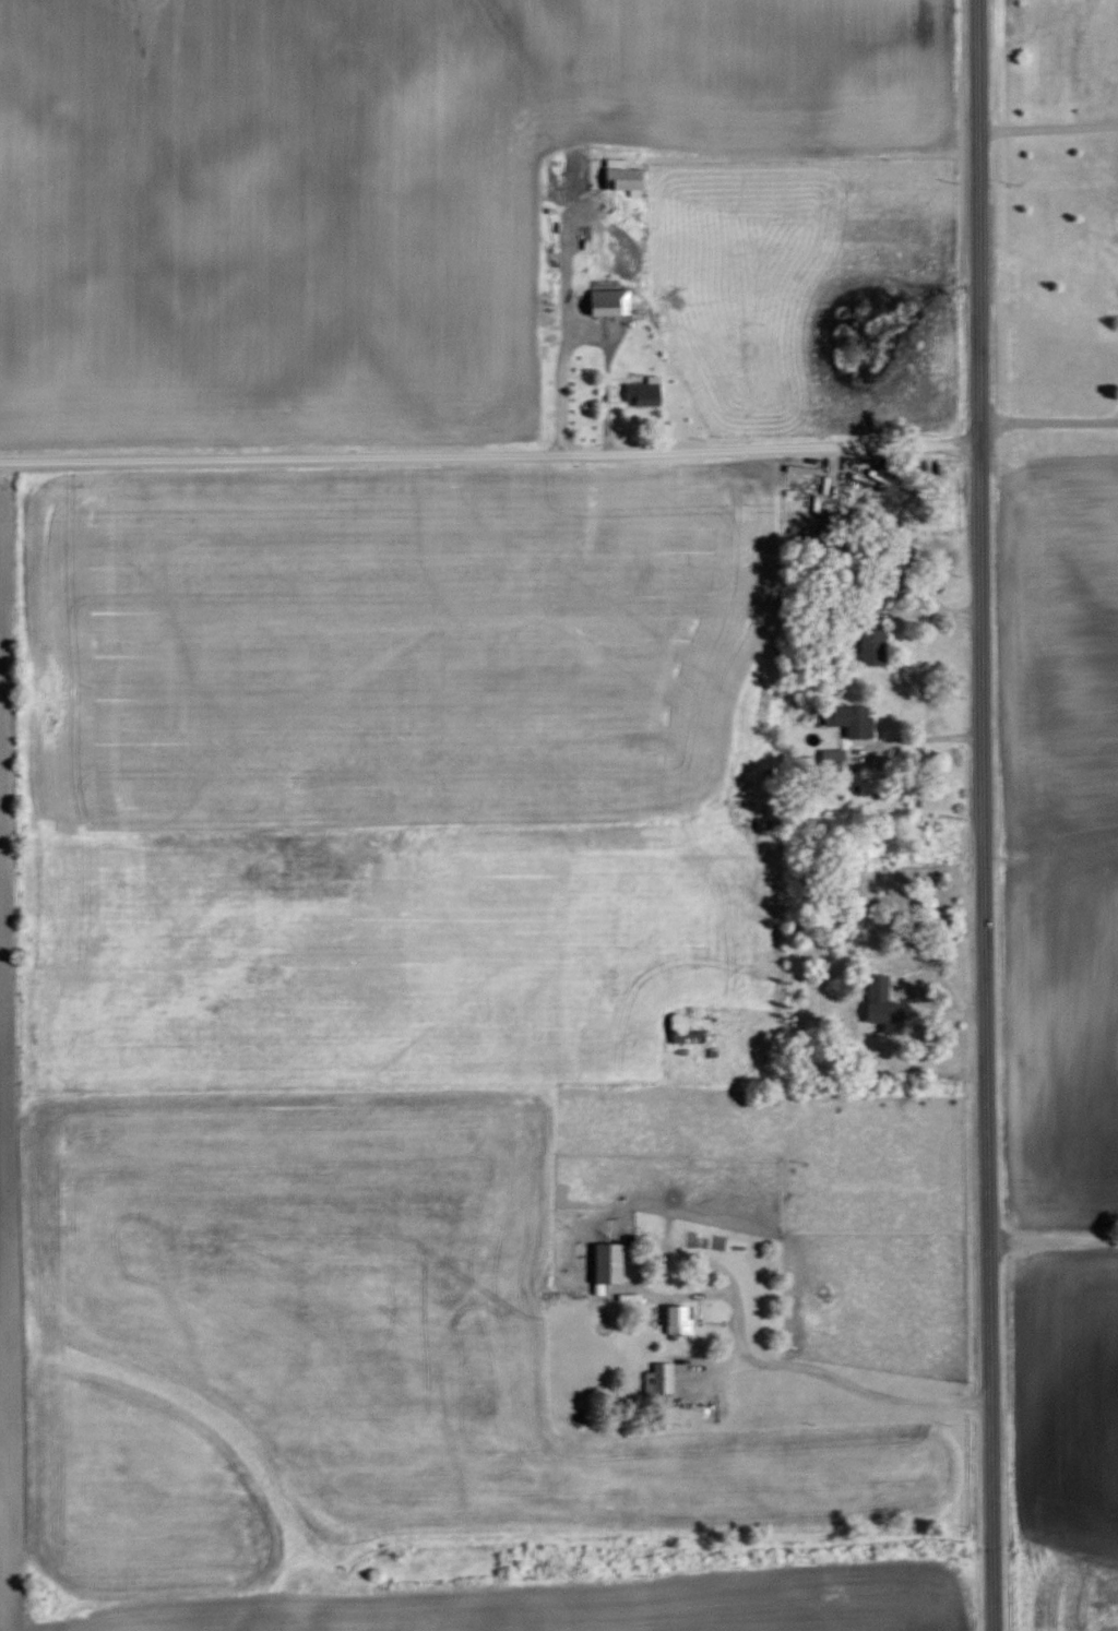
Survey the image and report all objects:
road: (1047, 122)
building: (625, 176)
building: (586, 237)
building: (610, 300)
building: (641, 394)
road: (1048, 415)
road: (489, 450)
building: (873, 645)
building: (852, 718)
road: (985, 815)
building: (879, 996)
building: (690, 1026)
road: (1055, 1240)
building: (609, 1262)
building: (679, 1319)
building: (661, 1378)
road: (848, 1382)

